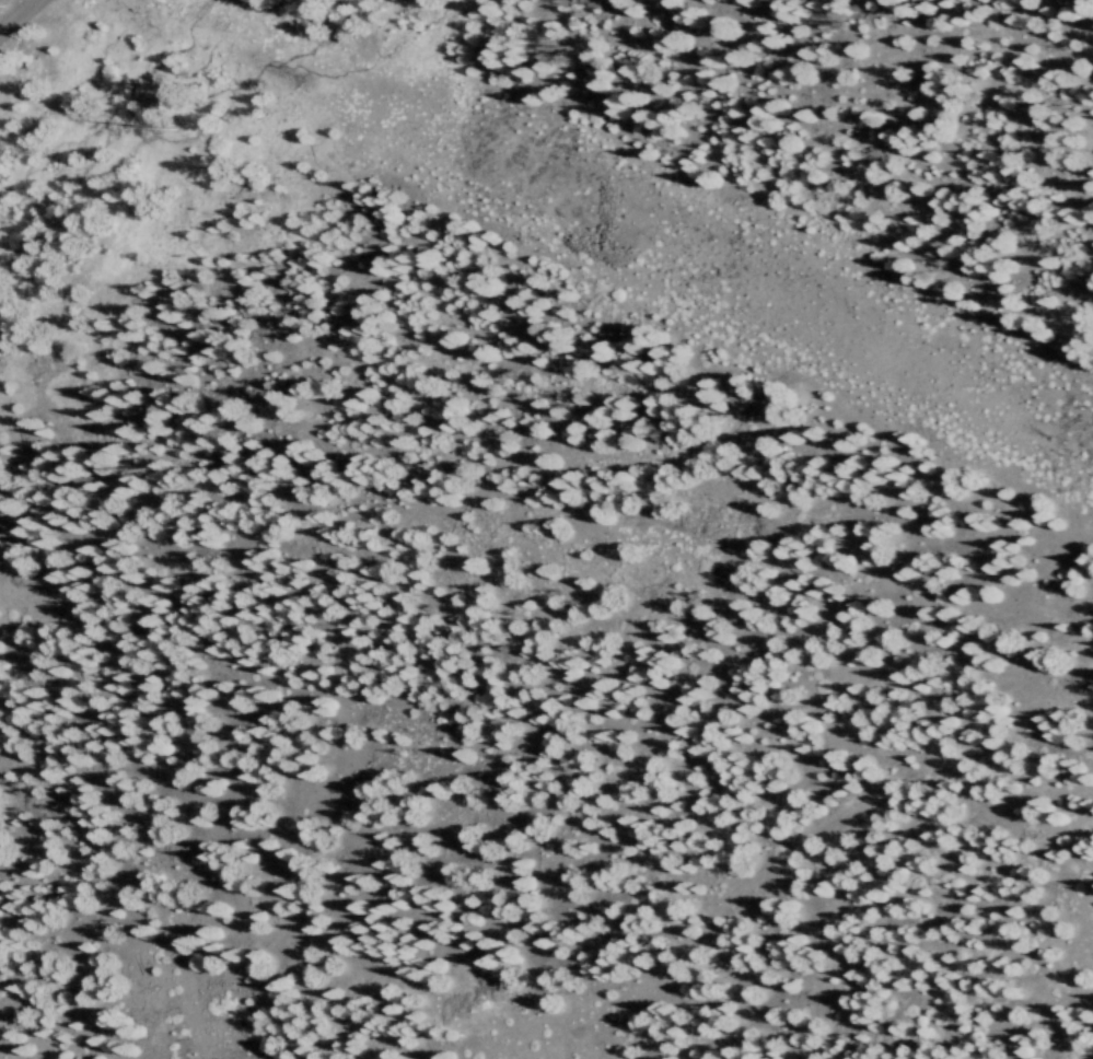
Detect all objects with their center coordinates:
road: (11, 11)

